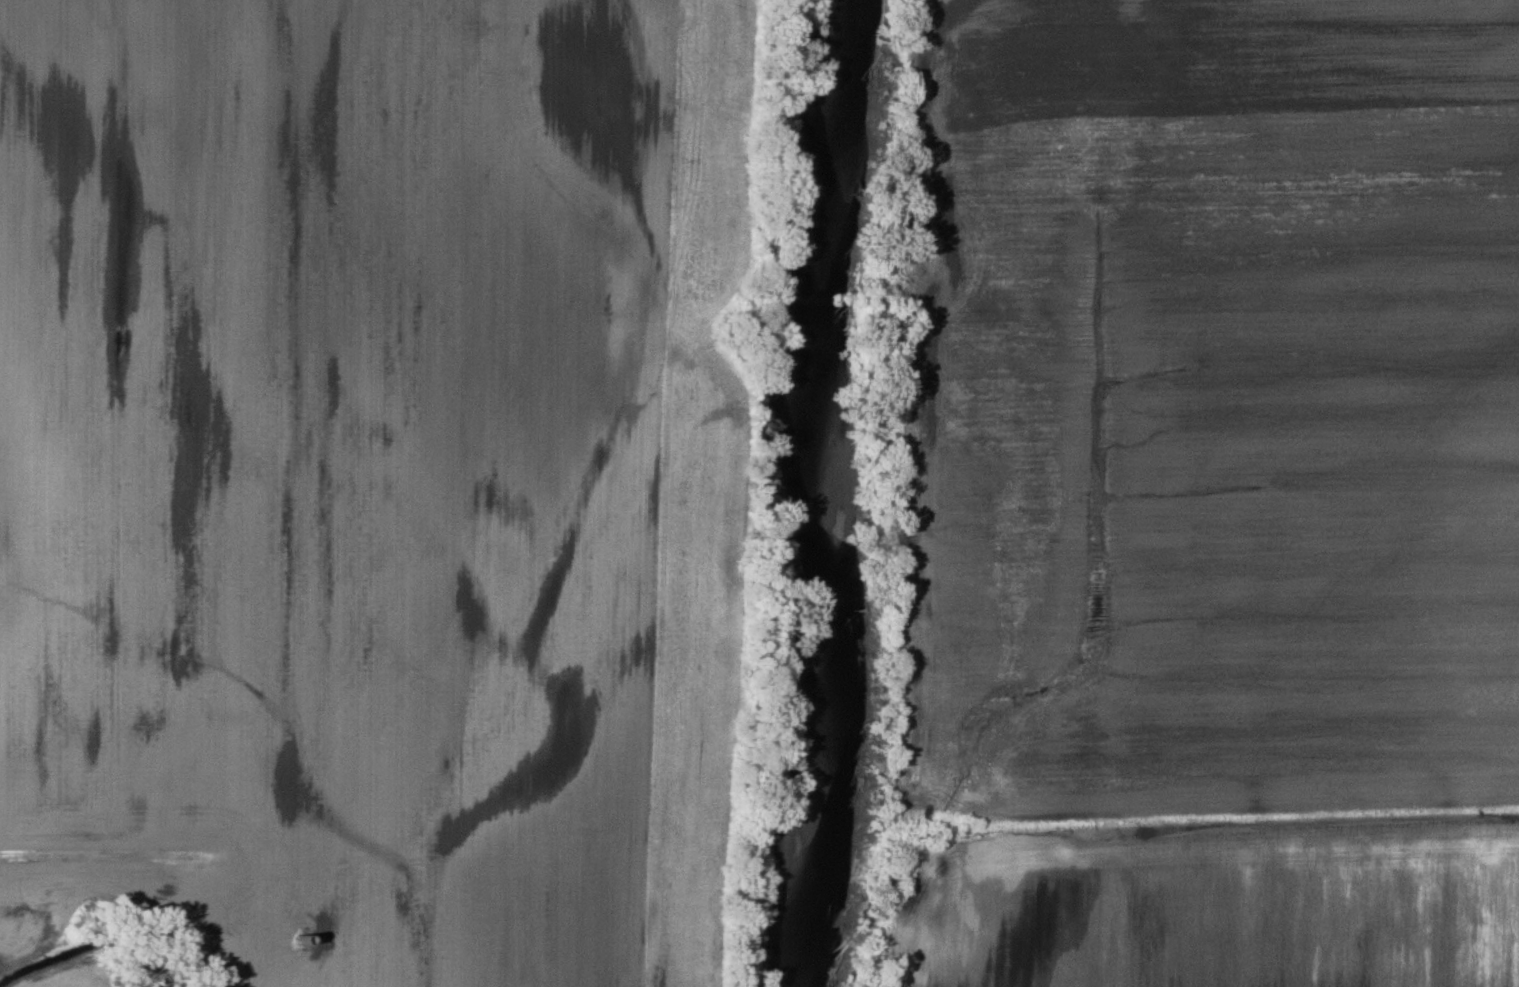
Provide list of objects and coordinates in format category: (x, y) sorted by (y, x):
road: (64, 868)

